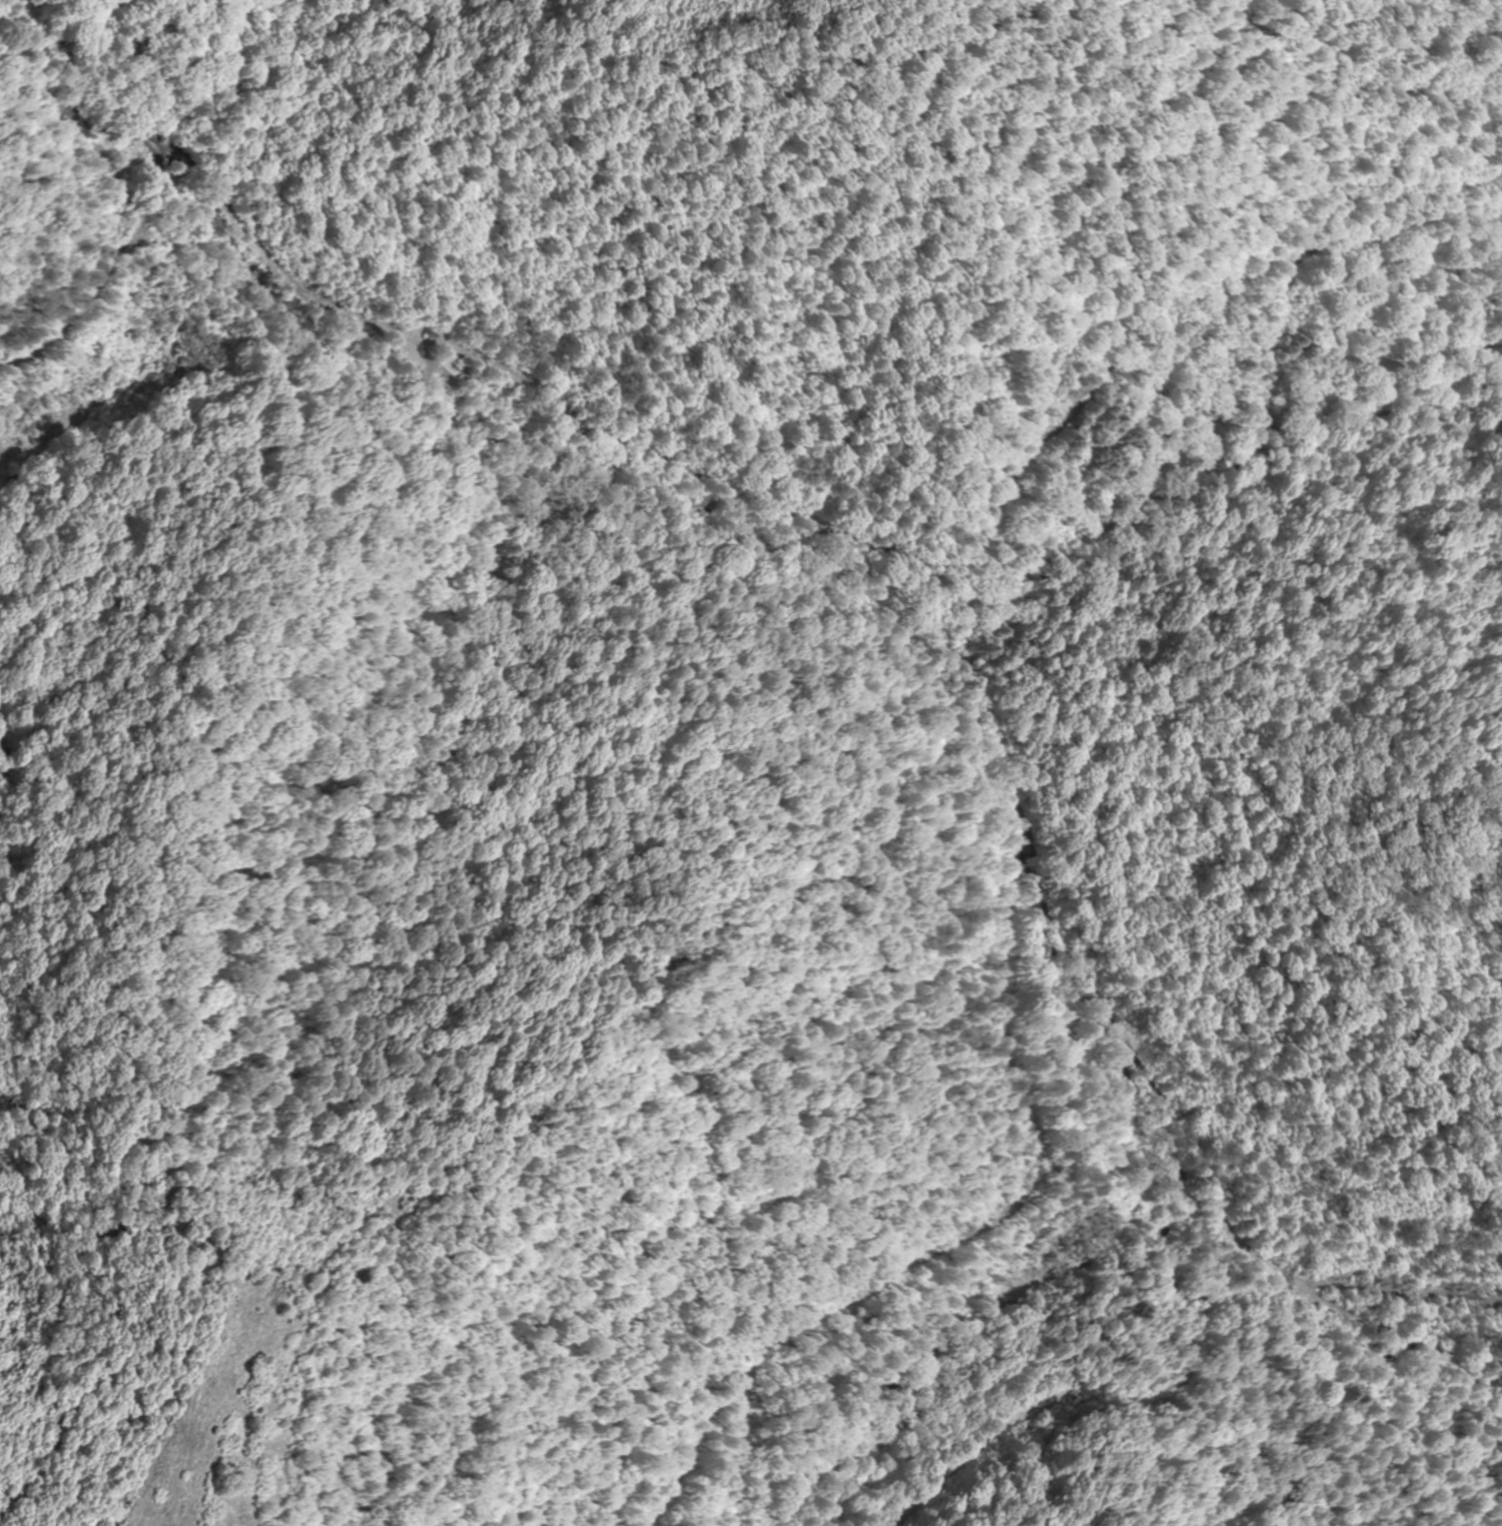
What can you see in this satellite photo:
road: (61, 23)
road: (919, 571)

